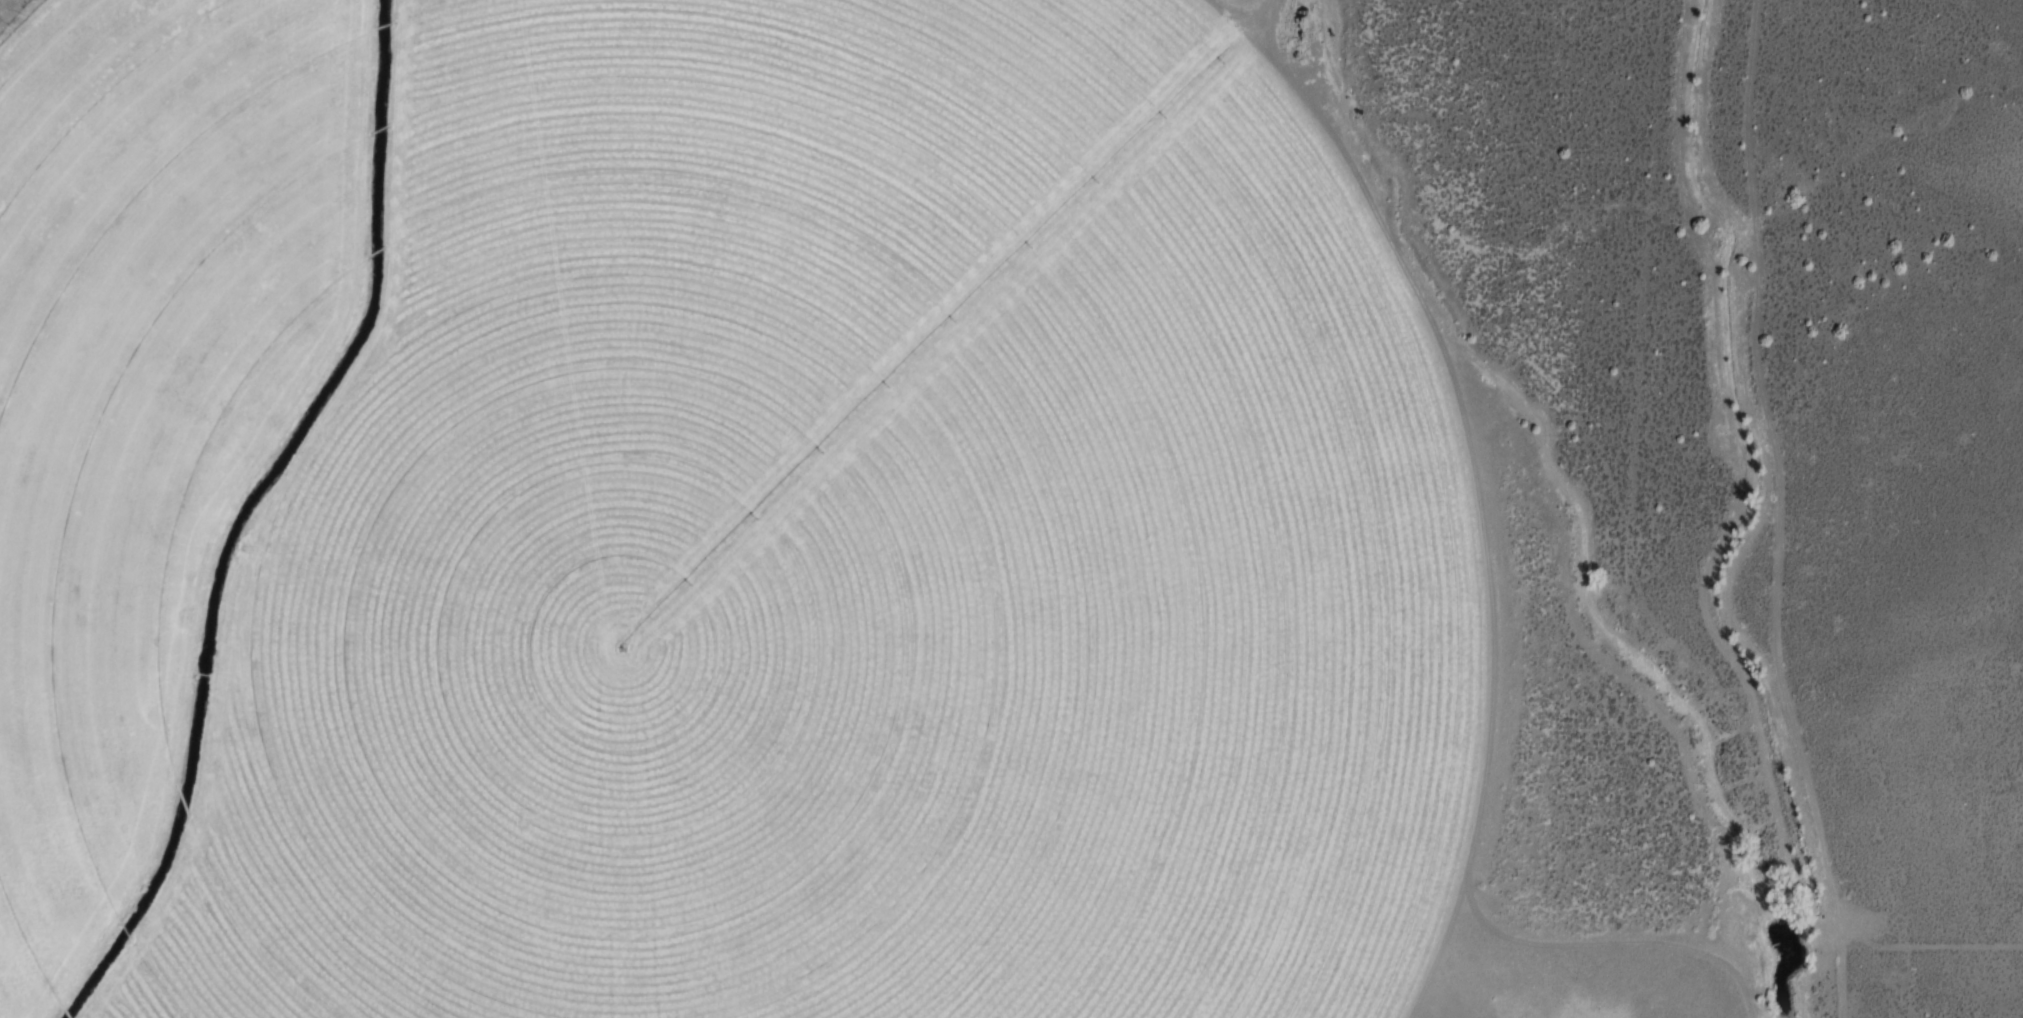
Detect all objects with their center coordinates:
crop: (706, 520)

